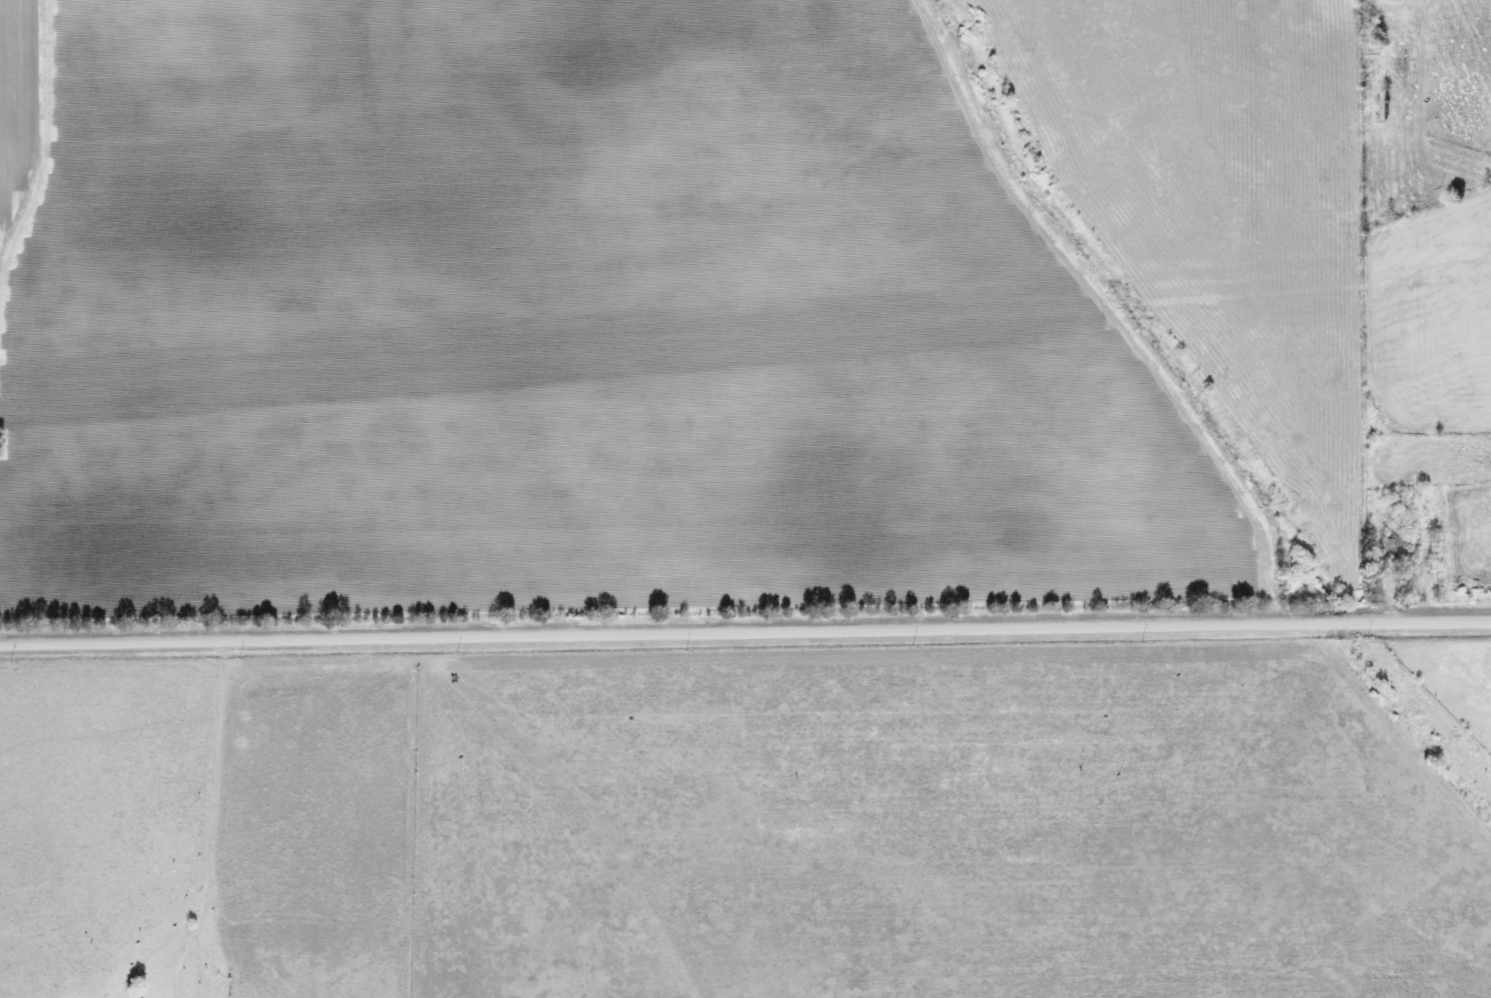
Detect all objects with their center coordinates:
building: (1377, 104)
building: (1381, 548)
road: (745, 633)
road: (223, 798)

